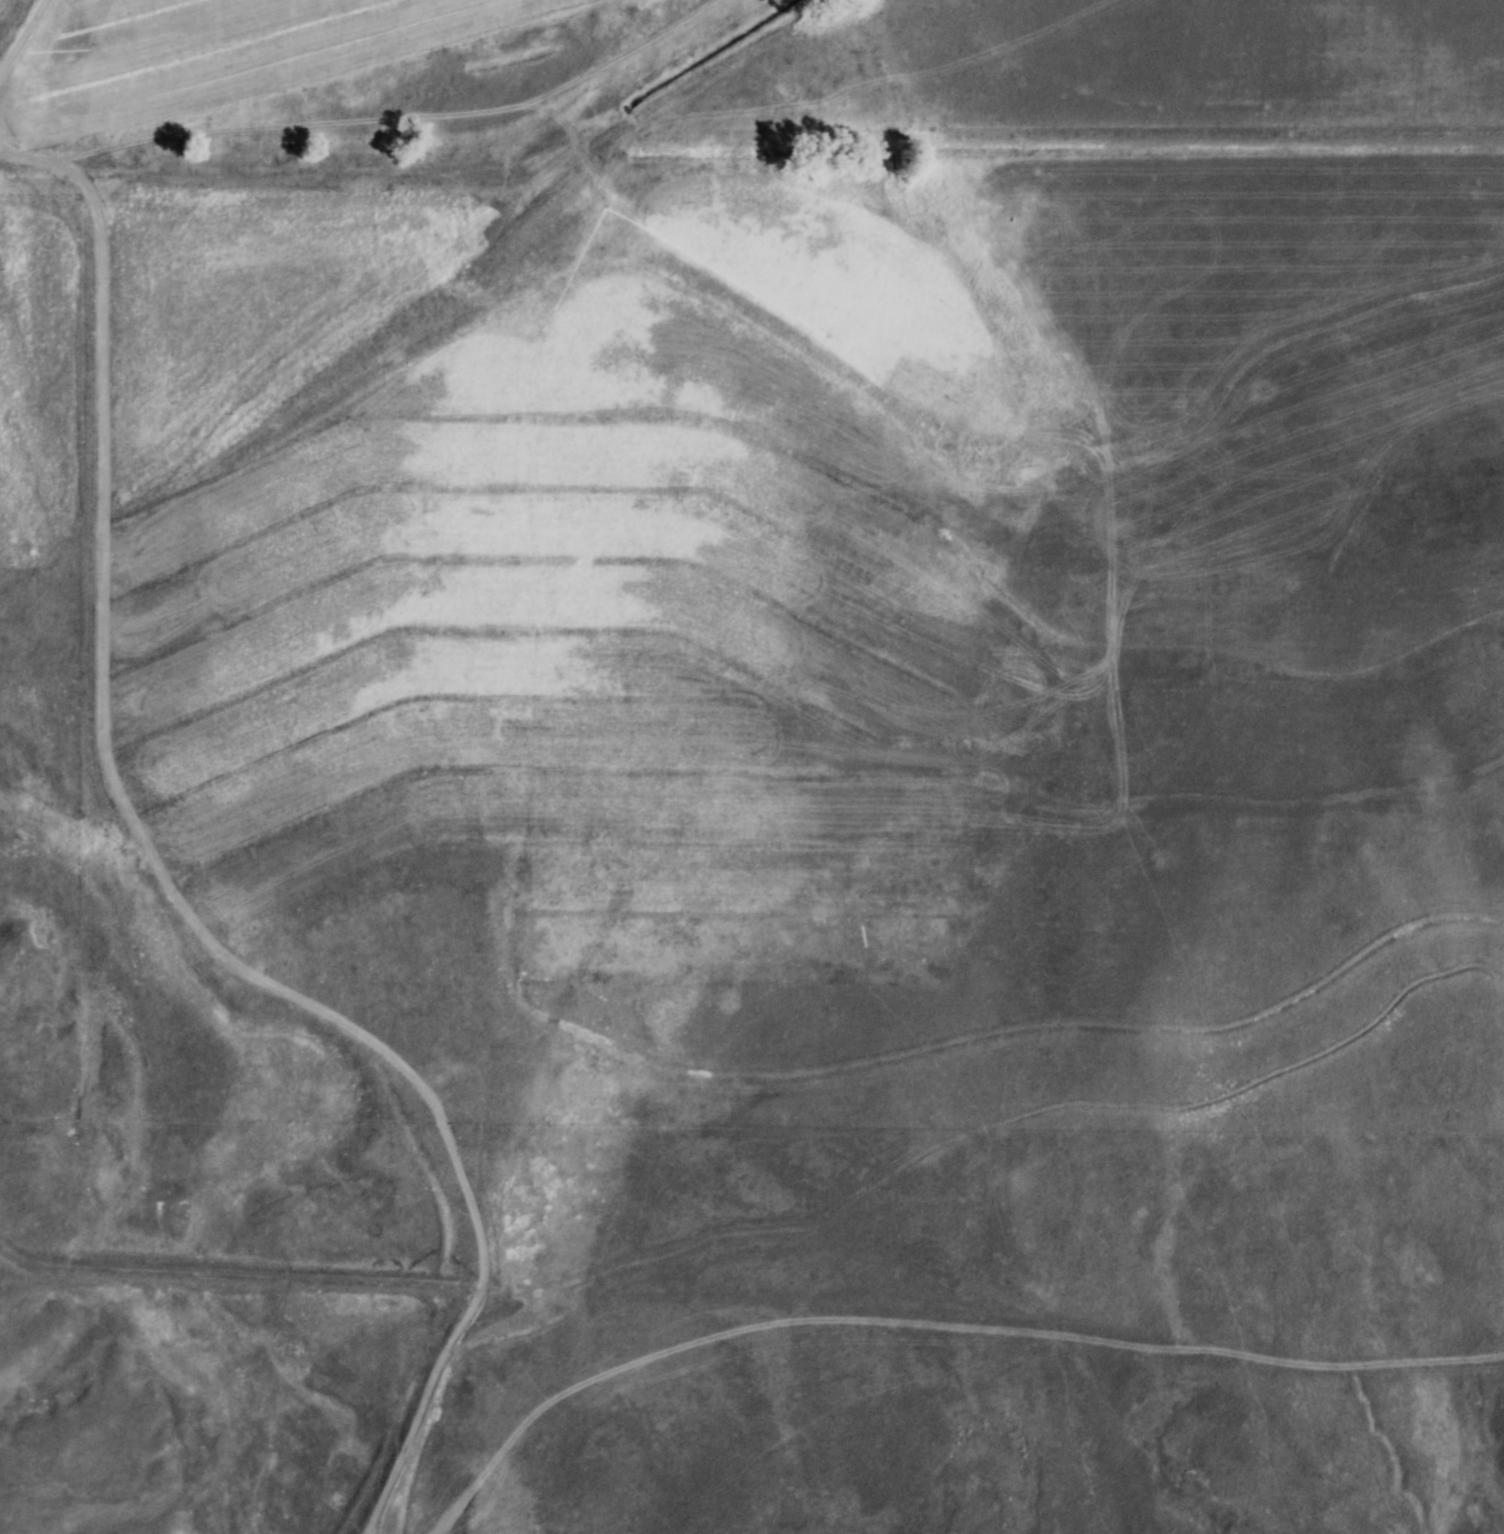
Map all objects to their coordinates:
road: (22, 38)

